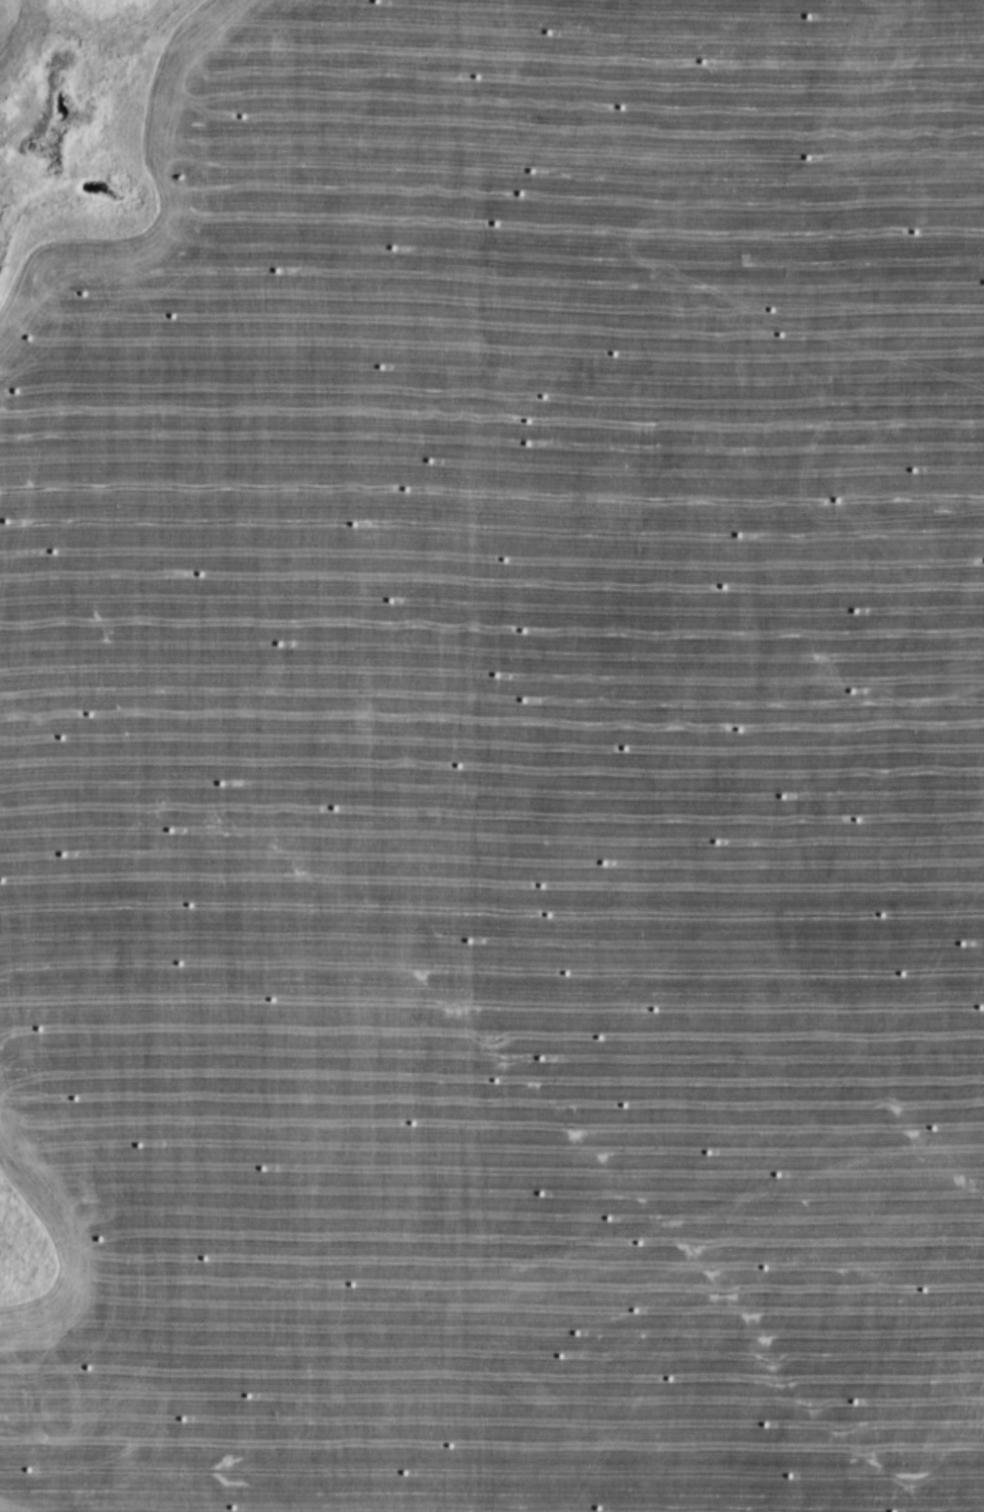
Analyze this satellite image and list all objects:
quarry: (501, 733)
road: (192, 1464)

